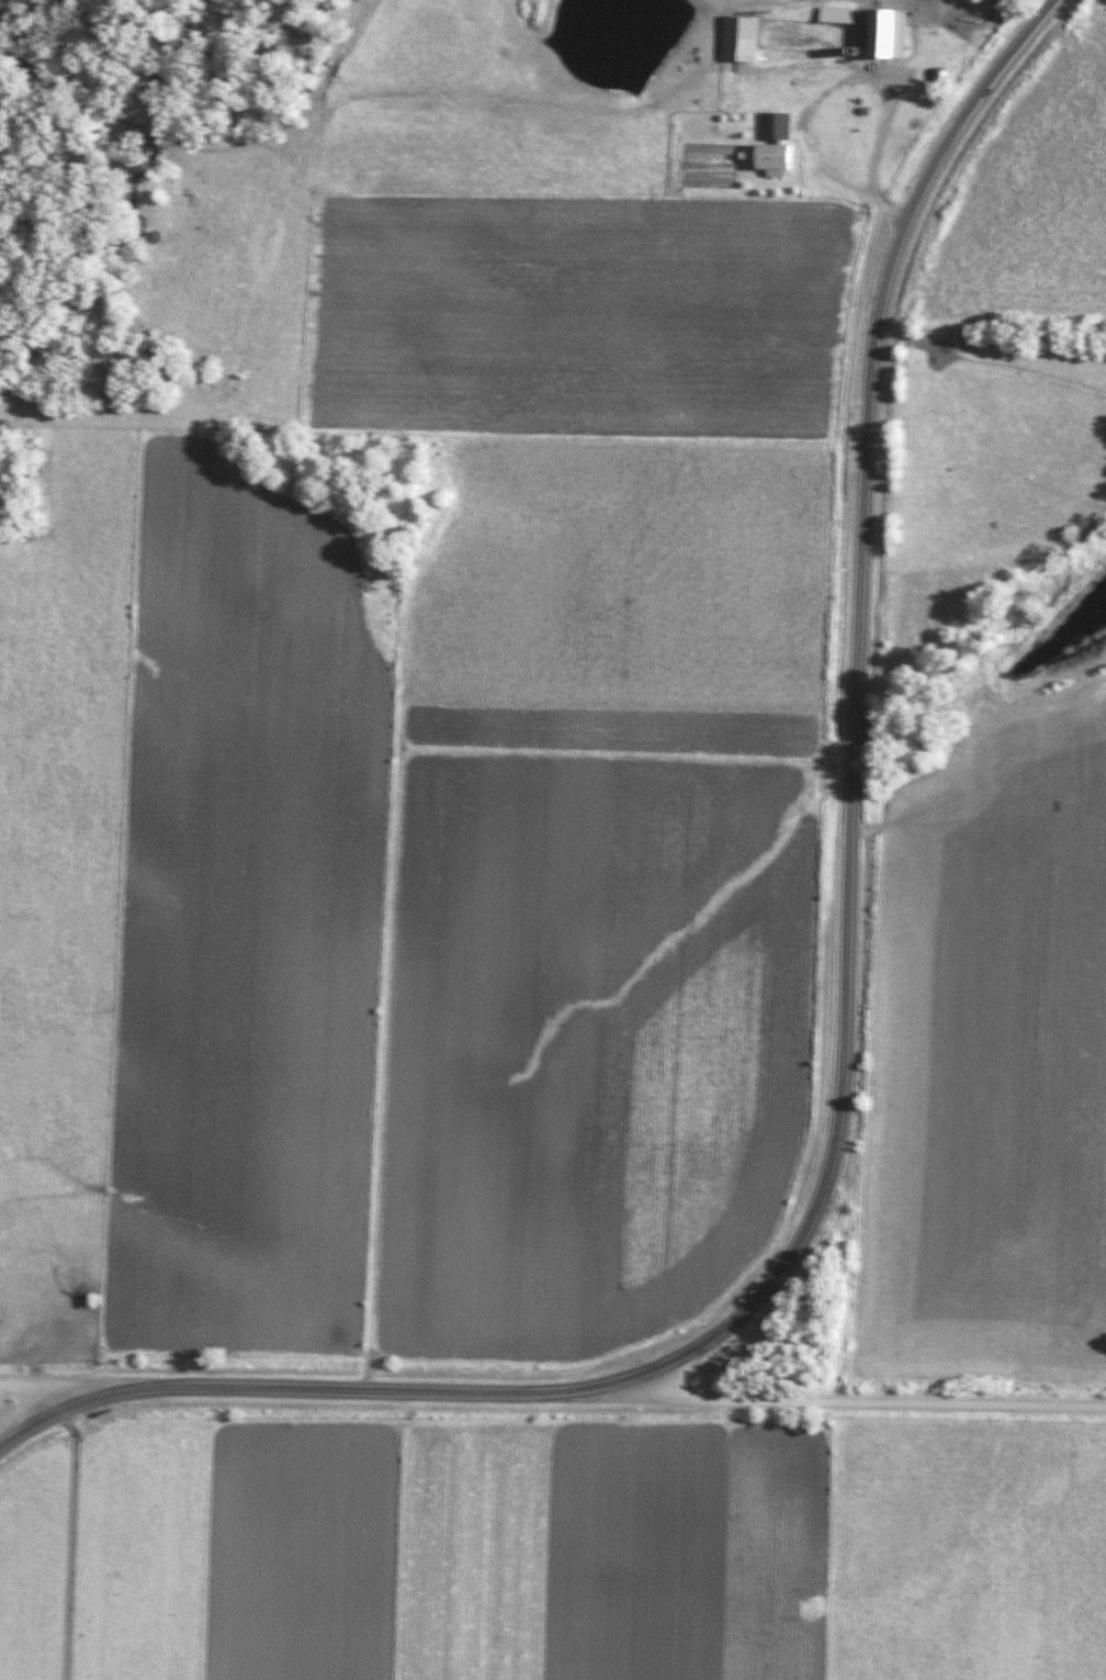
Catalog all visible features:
building: (899, 34)
building: (746, 37)
road: (894, 93)
building: (781, 127)
road: (858, 709)
road: (45, 1389)
road: (363, 1390)
road: (869, 1403)
road: (44, 1421)

